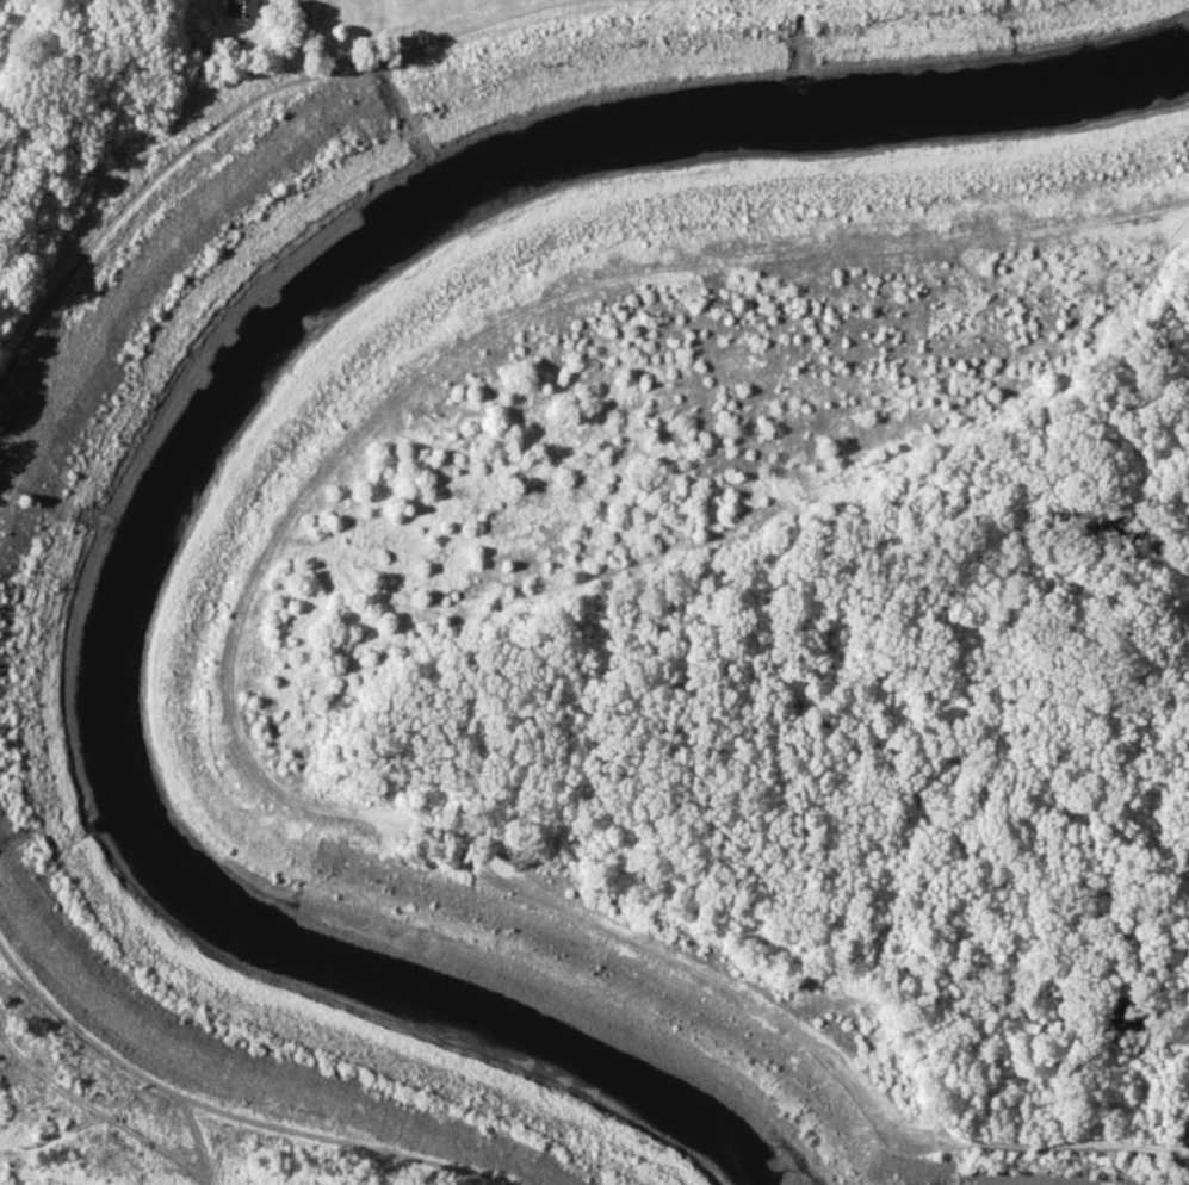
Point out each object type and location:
building: (241, 8)
road: (302, 11)
park: (628, 61)
river: (186, 459)

